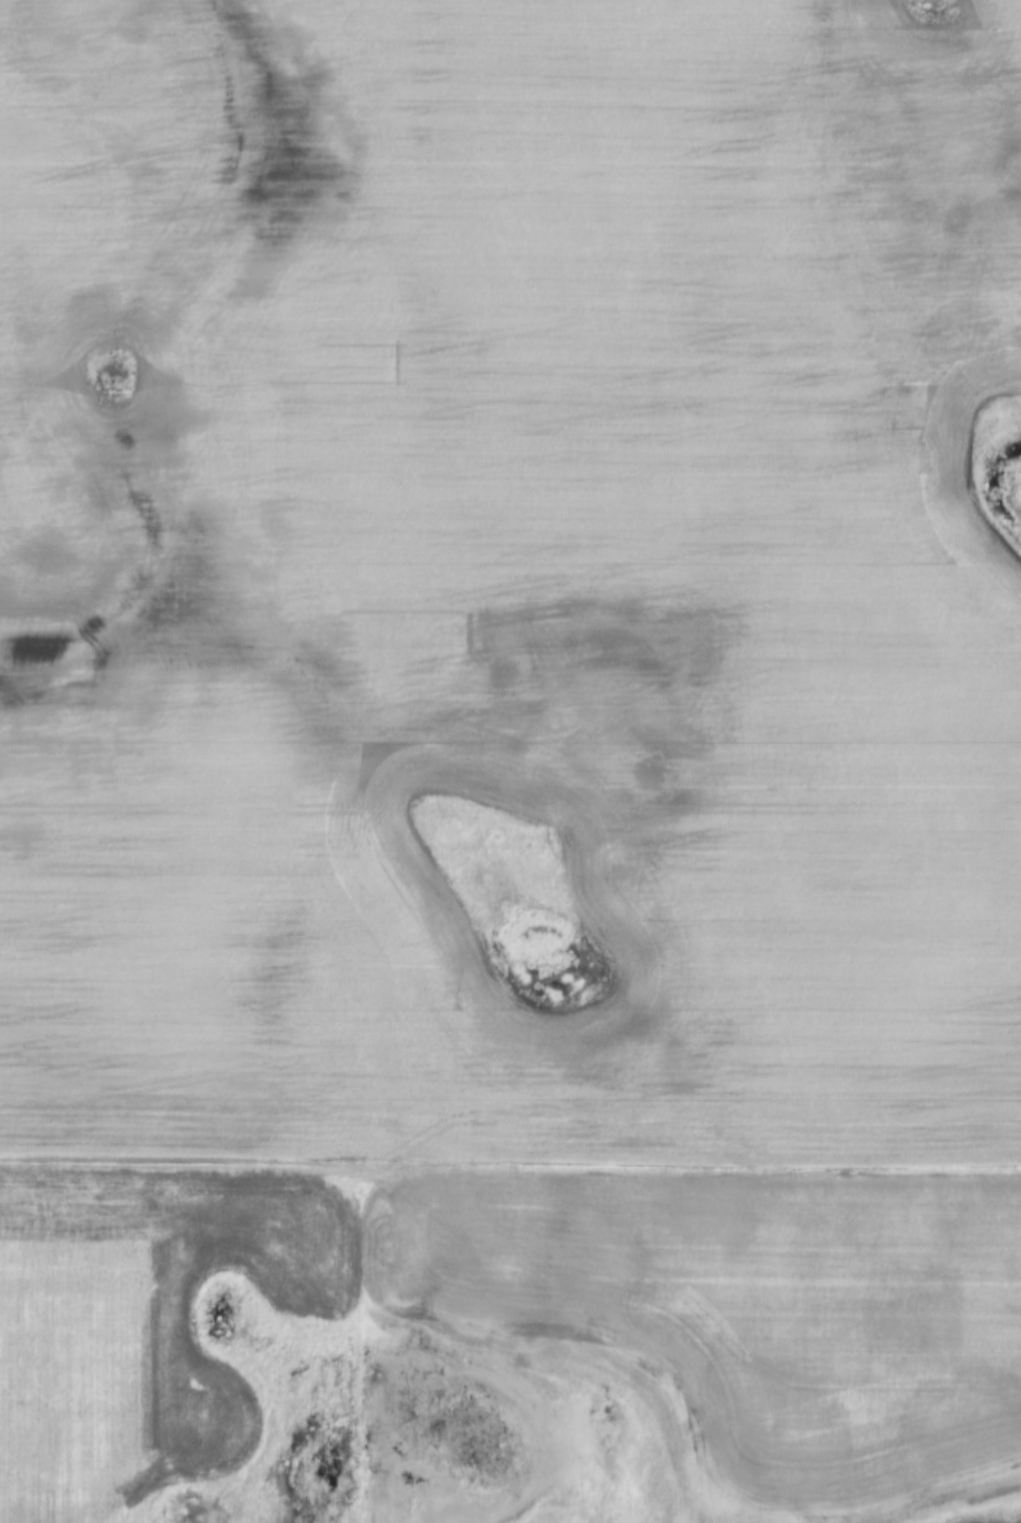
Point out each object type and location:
road: (510, 1165)

